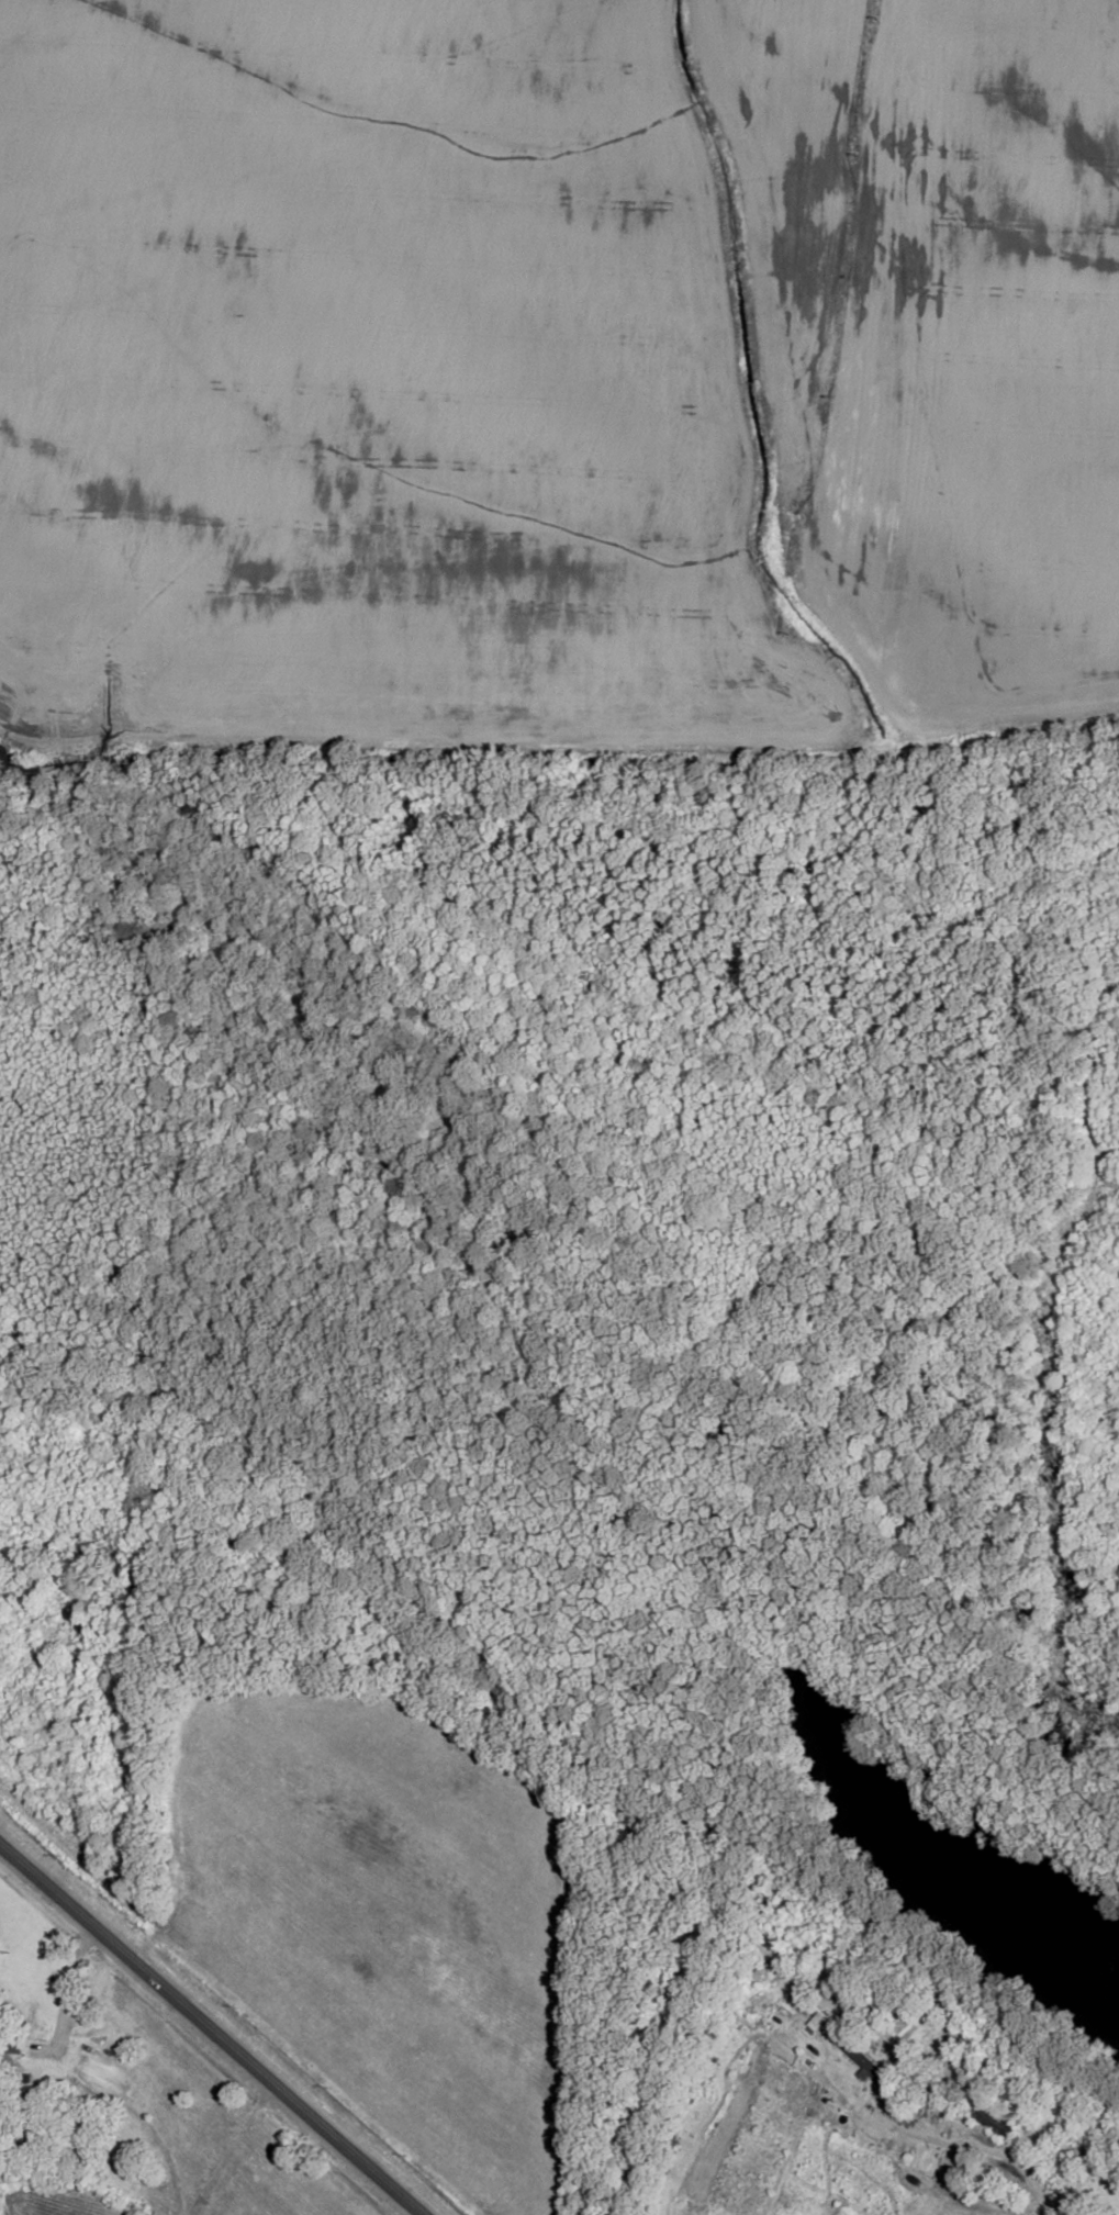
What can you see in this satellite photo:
road: (211, 2028)
building: (11, 2046)
building: (994, 2121)

